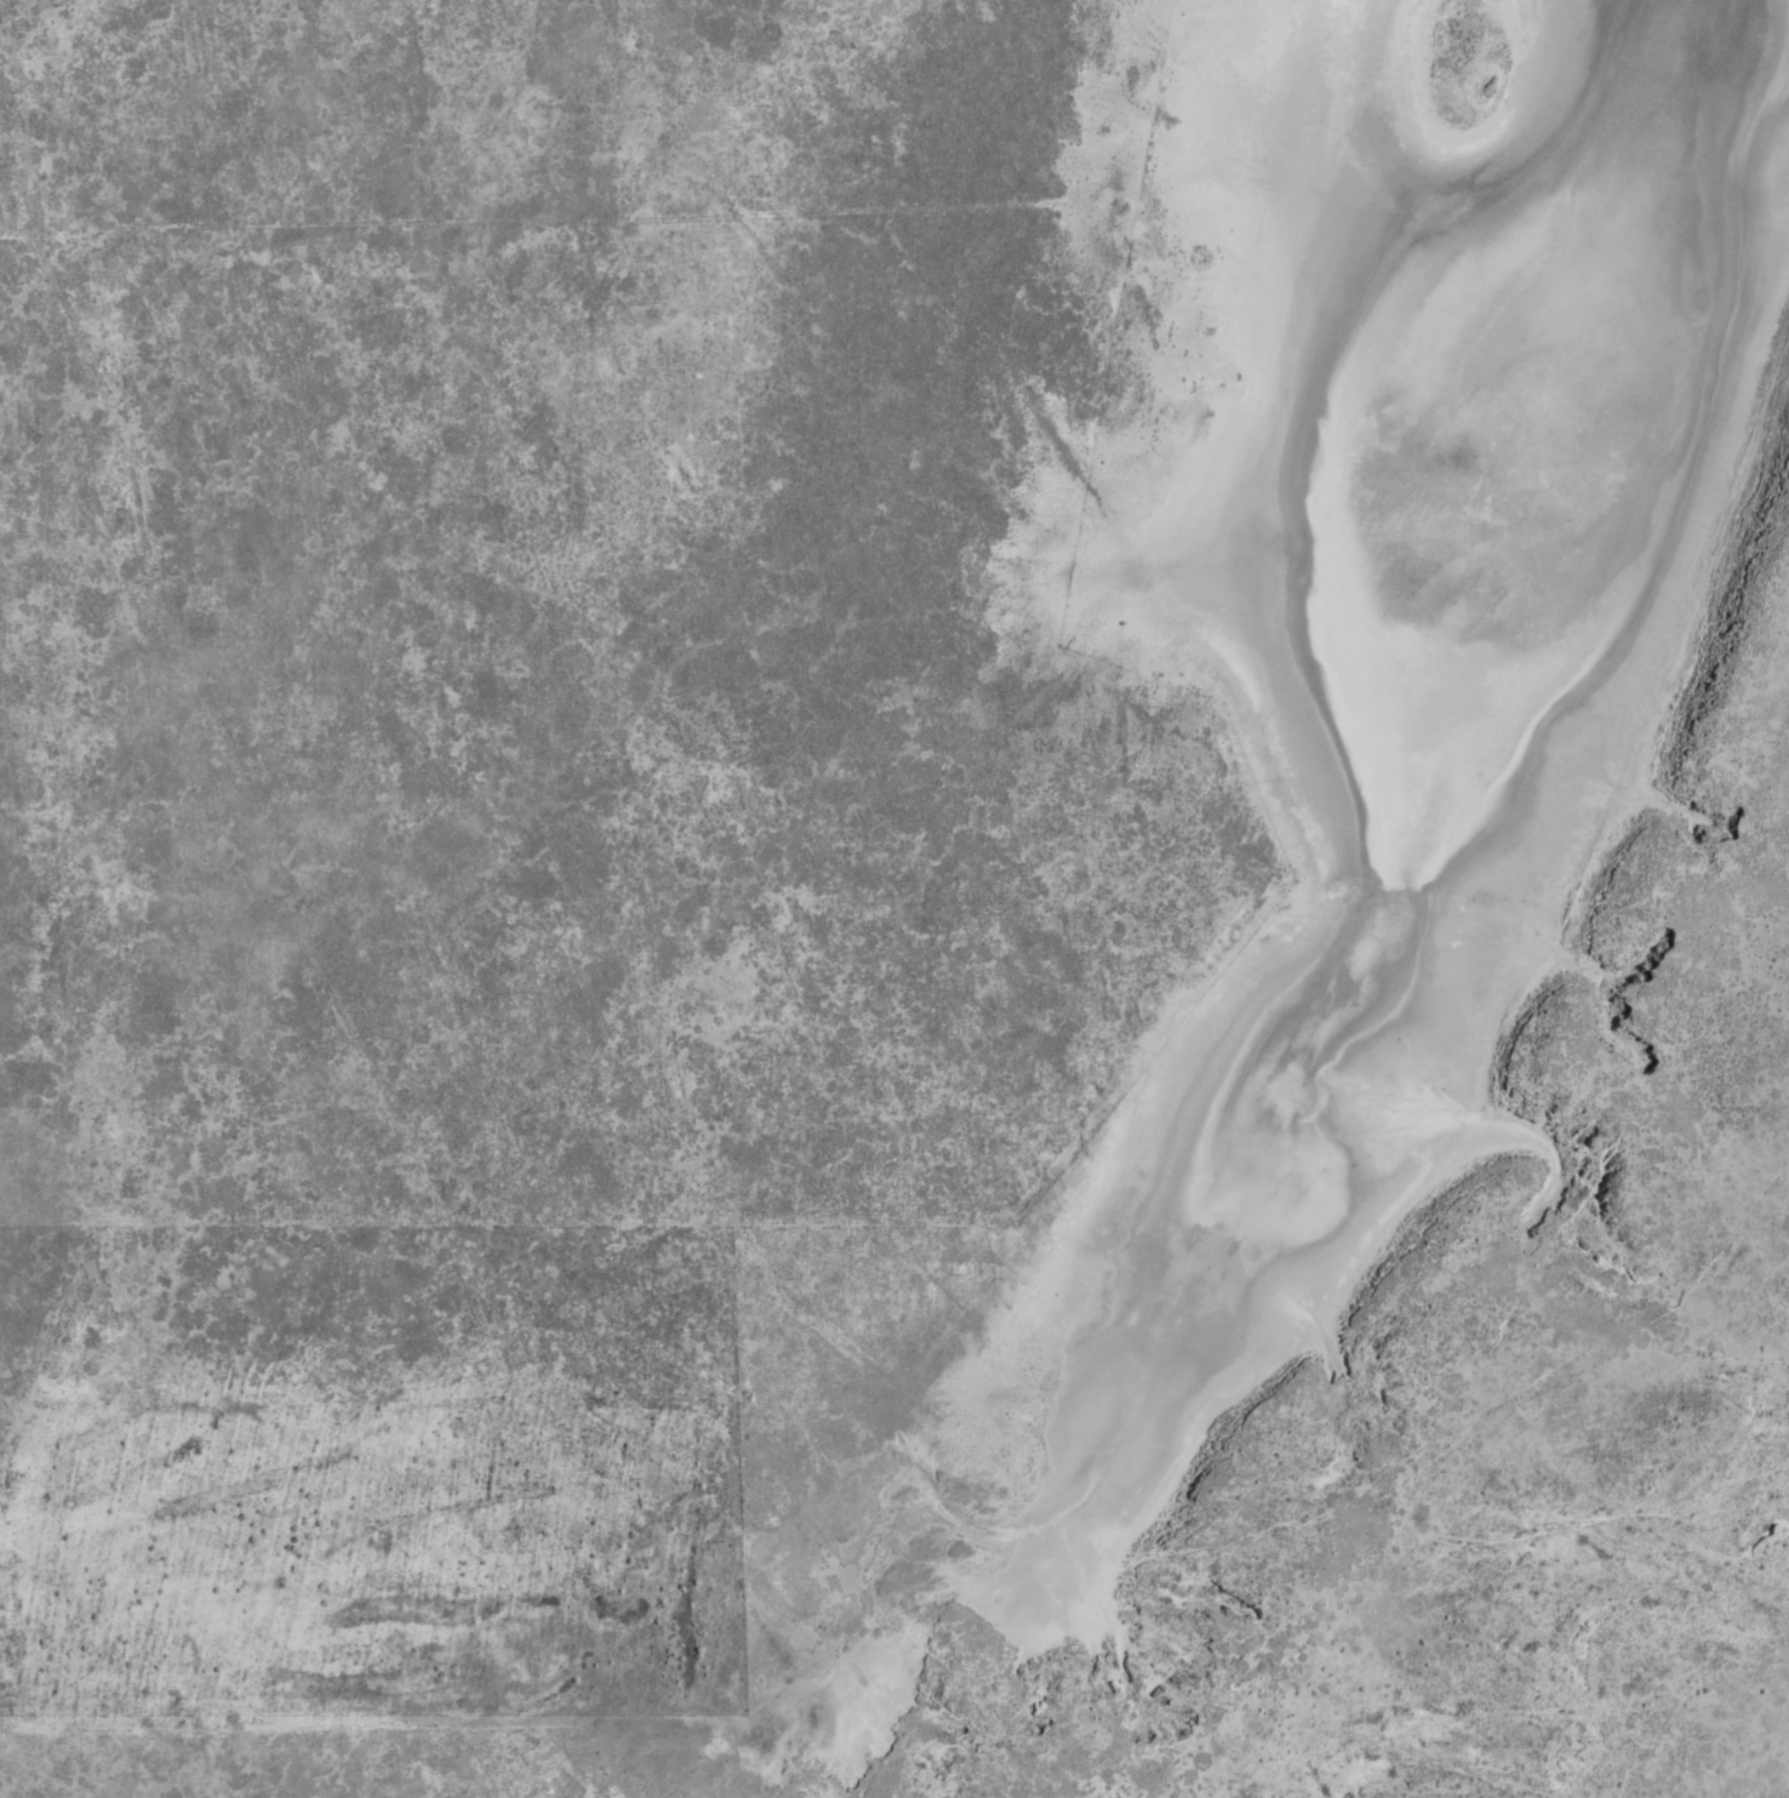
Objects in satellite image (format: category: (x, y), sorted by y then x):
road: (725, 1477)
road: (206, 1586)
road: (440, 1623)
road: (53, 1633)

